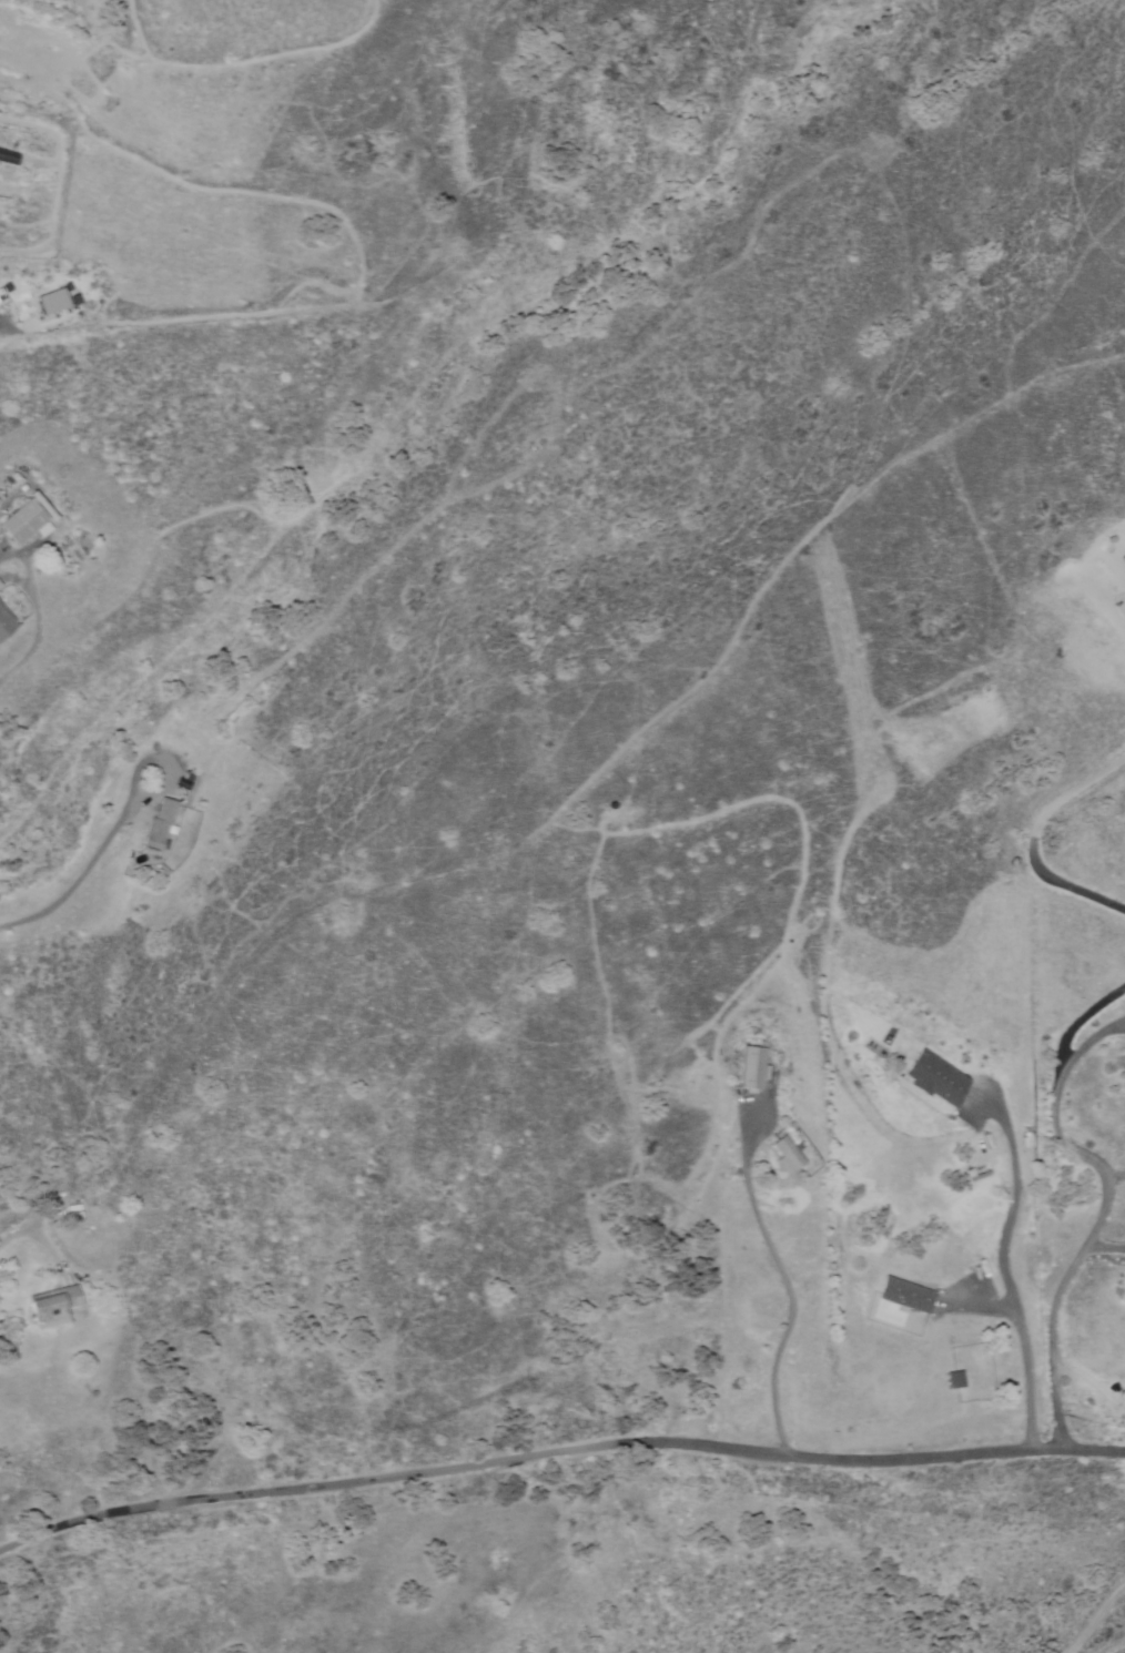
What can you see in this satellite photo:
building: (60, 0)
building: (1, 297)
building: (55, 298)
road: (215, 311)
road: (87, 464)
building: (26, 519)
building: (4, 622)
building: (156, 826)
building: (750, 1067)
building: (933, 1078)
building: (786, 1155)
building: (903, 1295)
building: (51, 1306)
building: (952, 1380)
road: (558, 1444)
road: (1097, 1609)

